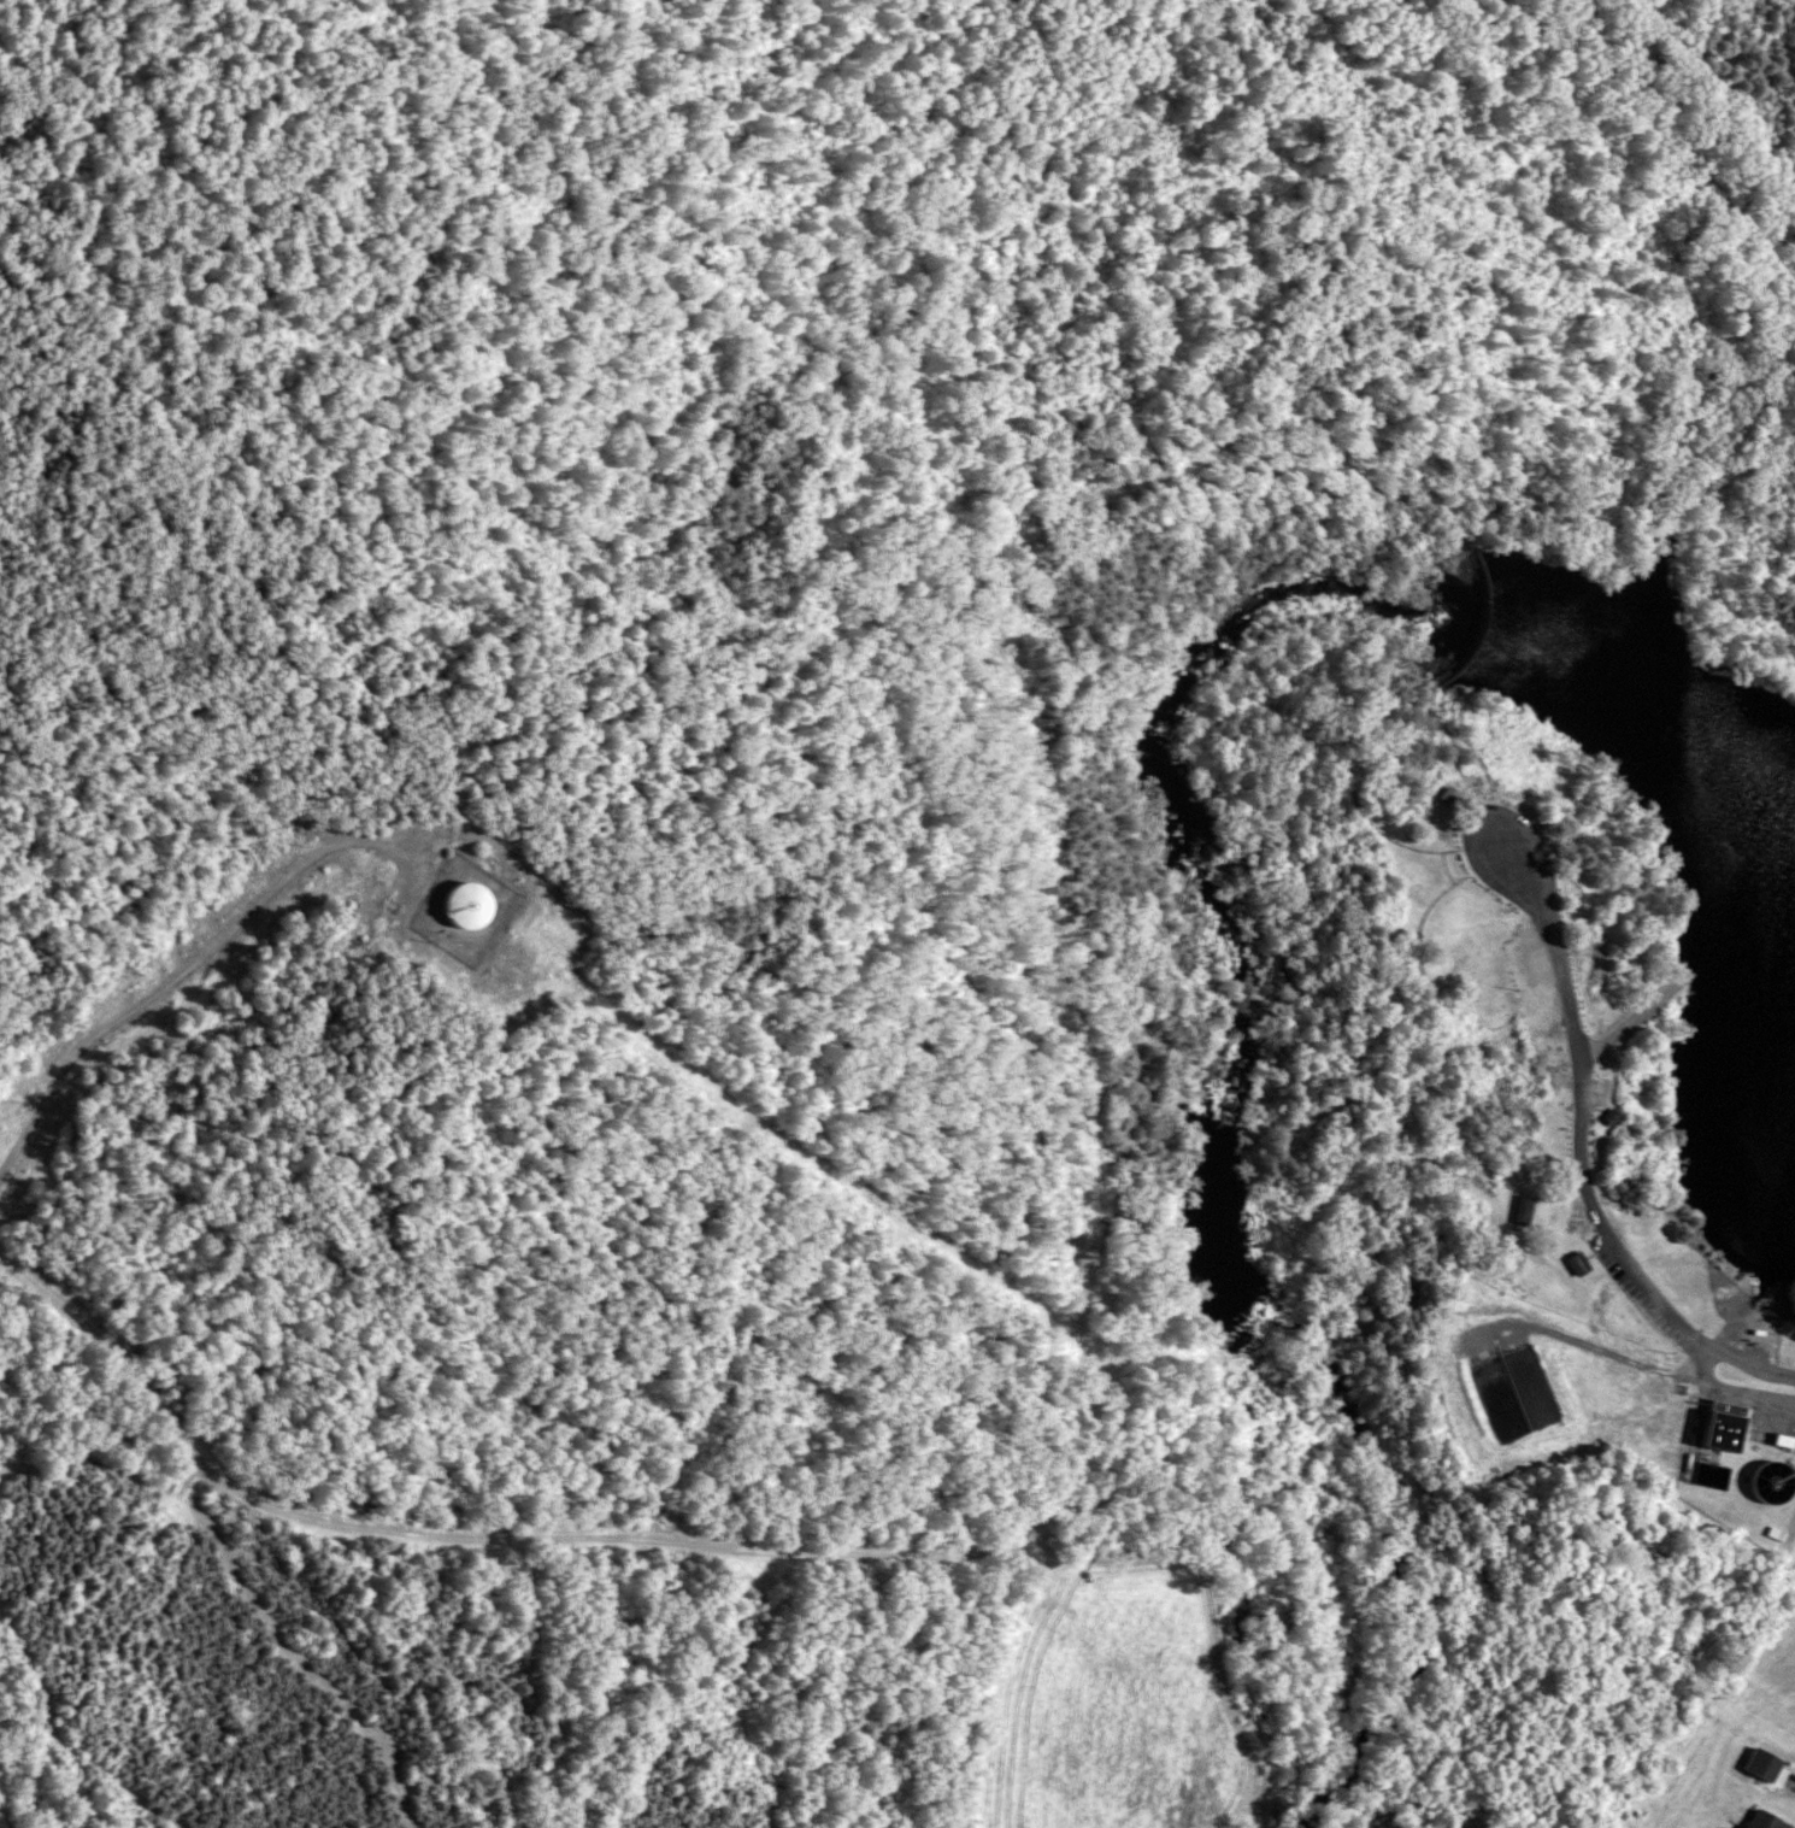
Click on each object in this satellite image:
dam: (1483, 624)
building: (466, 905)
road: (1572, 1159)
building: (1522, 1206)
building: (1575, 1263)
building: (1722, 1426)
building: (1776, 1485)

